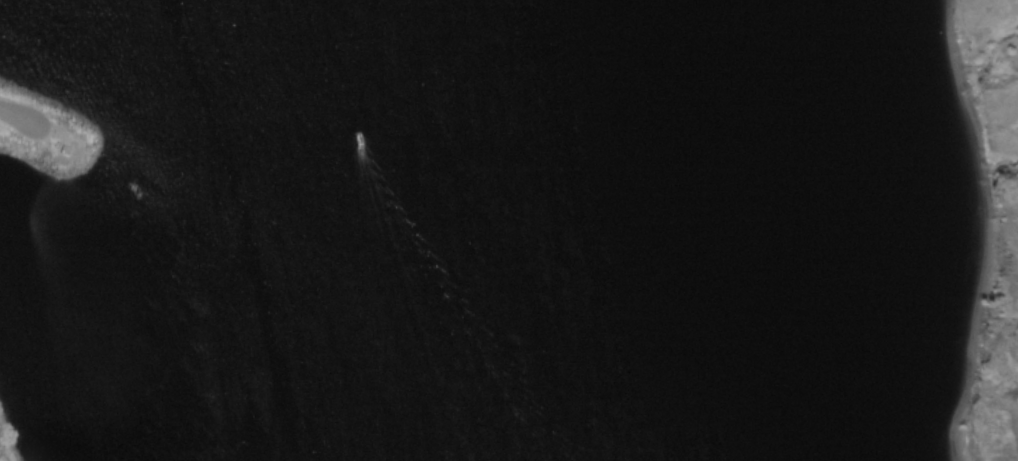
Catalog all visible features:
river: (309, 230)

